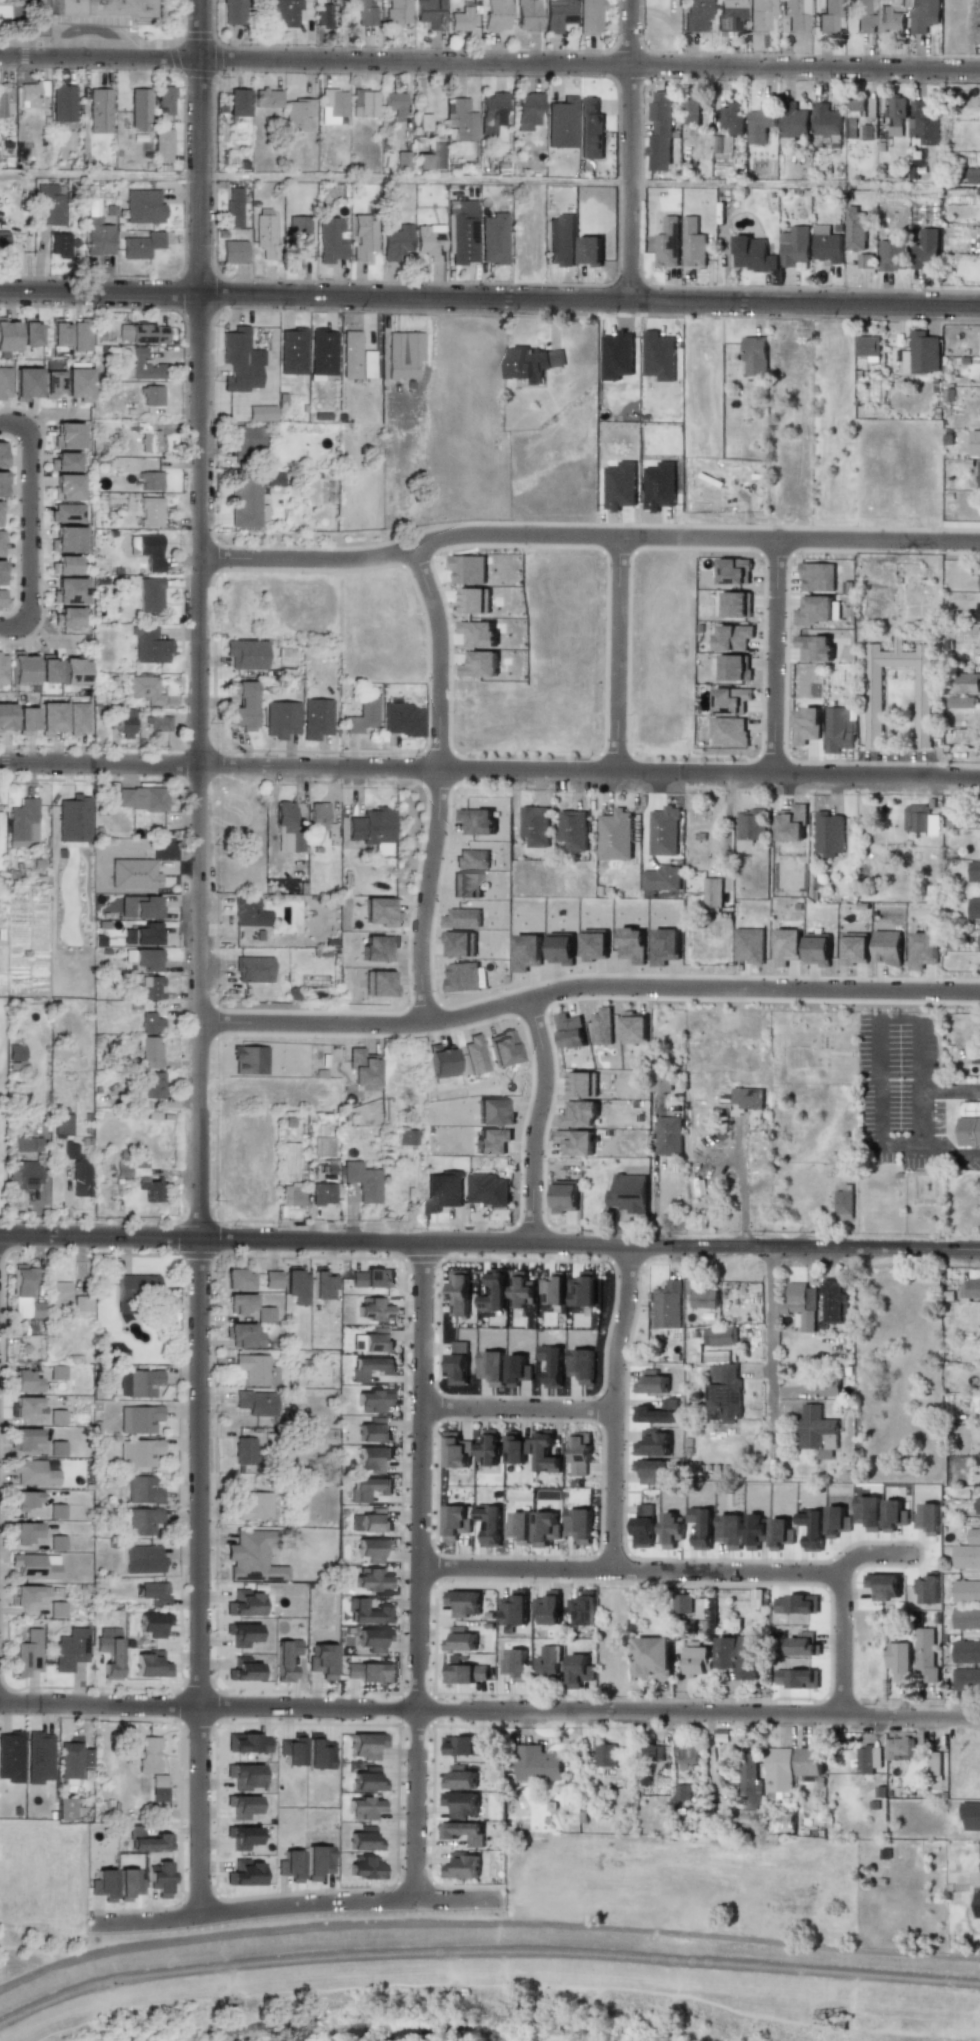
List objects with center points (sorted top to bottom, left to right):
building: (979, 4)
building: (105, 8)
building: (363, 11)
building: (234, 12)
building: (287, 12)
building: (398, 12)
building: (431, 13)
building: (558, 14)
building: (729, 14)
building: (759, 14)
building: (795, 14)
building: (323, 15)
building: (496, 15)
building: (528, 15)
building: (696, 15)
building: (924, 15)
building: (862, 16)
building: (589, 17)
building: (828, 17)
building: (890, 19)
building: (460, 20)
building: (977, 30)
road: (490, 62)
building: (31, 93)
building: (266, 98)
building: (164, 99)
building: (4, 101)
building: (237, 102)
building: (63, 103)
building: (364, 103)
building: (332, 105)
building: (394, 105)
building: (856, 106)
building: (139, 109)
building: (690, 109)
building: (528, 111)
building: (100, 112)
building: (297, 113)
building: (492, 113)
building: (896, 115)
building: (732, 119)
building: (460, 120)
building: (826, 120)
building: (793, 121)
building: (760, 122)
building: (561, 123)
building: (923, 124)
building: (590, 128)
building: (660, 131)
building: (162, 145)
road: (631, 150)
building: (722, 150)
building: (439, 155)
building: (917, 156)
building: (402, 160)
building: (422, 161)
road: (100, 175)
building: (973, 176)
road: (590, 181)
building: (978, 193)
building: (49, 204)
building: (143, 206)
building: (233, 207)
building: (856, 229)
building: (461, 231)
building: (265, 235)
building: (363, 236)
building: (98, 237)
building: (300, 237)
building: (493, 239)
building: (329, 240)
building: (561, 240)
building: (3, 242)
building: (396, 242)
building: (429, 243)
building: (667, 243)
building: (693, 243)
building: (826, 244)
building: (59, 245)
building: (141, 245)
building: (794, 246)
building: (925, 249)
building: (233, 251)
building: (590, 251)
building: (752, 254)
building: (892, 255)
building: (865, 261)
road: (490, 298)
building: (29, 332)
building: (142, 334)
building: (7, 335)
building: (80, 336)
building: (57, 338)
building: (868, 347)
building: (292, 351)
building: (322, 352)
building: (922, 353)
building: (350, 354)
building: (403, 354)
building: (617, 355)
building: (659, 356)
building: (755, 356)
building: (241, 360)
building: (533, 363)
building: (143, 366)
building: (3, 383)
building: (25, 383)
building: (51, 383)
building: (77, 384)
building: (151, 396)
building: (67, 435)
building: (148, 437)
building: (248, 437)
building: (1, 454)
building: (64, 461)
building: (979, 475)
building: (273, 479)
building: (3, 481)
building: (150, 481)
building: (620, 485)
building: (659, 486)
building: (66, 487)
building: (245, 501)
building: (151, 512)
building: (67, 513)
road: (30, 527)
road: (588, 534)
building: (1, 536)
building: (67, 539)
building: (147, 550)
building: (64, 564)
building: (468, 569)
building: (734, 571)
building: (1, 573)
building: (817, 577)
building: (979, 583)
building: (69, 590)
building: (150, 594)
building: (1, 598)
building: (474, 600)
building: (737, 604)
building: (815, 610)
building: (978, 611)
building: (67, 616)
building: (478, 633)
building: (733, 637)
building: (149, 645)
building: (814, 648)
road: (617, 652)
building: (245, 654)
road: (774, 654)
road: (439, 658)
building: (480, 664)
building: (734, 667)
building: (2, 668)
building: (21, 668)
building: (48, 669)
building: (73, 670)
building: (965, 682)
building: (145, 689)
building: (731, 700)
building: (960, 702)
building: (922, 706)
building: (242, 707)
building: (6, 717)
building: (51, 718)
building: (77, 718)
building: (315, 718)
building: (280, 719)
building: (402, 719)
building: (25, 720)
building: (125, 723)
building: (158, 723)
building: (806, 725)
building: (839, 728)
building: (729, 732)
road: (490, 769)
building: (140, 798)
building: (318, 815)
building: (73, 819)
building: (920, 819)
building: (23, 821)
building: (792, 823)
building: (371, 826)
building: (535, 826)
building: (750, 828)
building: (287, 829)
building: (573, 830)
building: (664, 831)
building: (828, 834)
building: (615, 835)
building: (974, 871)
building: (661, 878)
building: (712, 892)
road: (428, 895)
building: (139, 907)
building: (974, 908)
building: (248, 913)
building: (142, 935)
building: (979, 941)
building: (749, 945)
building: (787, 946)
building: (887, 947)
building: (856, 948)
building: (817, 949)
building: (923, 950)
building: (146, 959)
road: (199, 959)
building: (253, 969)
road: (587, 986)
building: (152, 987)
building: (151, 1023)
building: (602, 1027)
building: (634, 1028)
building: (570, 1031)
building: (149, 1051)
building: (14, 1052)
building: (975, 1057)
road: (879, 1064)
building: (661, 1081)
road: (916, 1083)
building: (583, 1084)
building: (151, 1085)
road: (897, 1087)
road: (948, 1088)
building: (748, 1098)
building: (579, 1114)
road: (536, 1117)
building: (971, 1124)
building: (61, 1125)
building: (669, 1136)
building: (406, 1137)
building: (291, 1140)
building: (576, 1142)
building: (27, 1144)
road: (930, 1145)
building: (324, 1146)
building: (69, 1151)
building: (289, 1166)
building: (23, 1176)
building: (80, 1178)
building: (140, 1179)
building: (362, 1181)
road: (741, 1185)
building: (443, 1190)
building: (488, 1190)
building: (628, 1193)
building: (323, 1194)
building: (292, 1195)
building: (565, 1197)
building: (843, 1204)
road: (489, 1240)
building: (238, 1279)
building: (371, 1279)
building: (271, 1280)
building: (322, 1284)
building: (295, 1286)
building: (975, 1289)
building: (133, 1290)
building: (521, 1290)
building: (553, 1290)
building: (583, 1291)
building: (492, 1292)
building: (24, 1293)
building: (59, 1293)
building: (459, 1293)
building: (701, 1295)
building: (836, 1301)
building: (241, 1303)
building: (82, 1304)
building: (801, 1305)
building: (667, 1306)
building: (374, 1309)
building: (265, 1315)
building: (245, 1335)
building: (720, 1336)
building: (373, 1341)
road: (773, 1363)
building: (370, 1368)
building: (256, 1369)
building: (56, 1373)
building: (24, 1381)
building: (138, 1384)
building: (825, 1386)
building: (724, 1393)
building: (373, 1401)
building: (255, 1402)
road: (616, 1405)
building: (25, 1407)
road: (519, 1410)
building: (56, 1416)
building: (139, 1419)
building: (373, 1431)
building: (817, 1433)
building: (25, 1438)
building: (488, 1448)
building: (517, 1448)
building: (56, 1449)
building: (138, 1452)
building: (245, 1453)
building: (457, 1453)
building: (581, 1453)
building: (546, 1454)
building: (373, 1458)
building: (32, 1472)
building: (368, 1488)
building: (142, 1490)
building: (25, 1500)
building: (978, 1505)
building: (254, 1506)
building: (140, 1521)
building: (374, 1521)
building: (456, 1522)
building: (491, 1524)
building: (579, 1525)
building: (519, 1527)
building: (545, 1528)
building: (23, 1532)
building: (974, 1536)
building: (56, 1545)
building: (371, 1549)
road: (869, 1555)
building: (966, 1556)
building: (252, 1558)
building: (142, 1559)
building: (35, 1566)
road: (420, 1569)
road: (699, 1571)
building: (371, 1580)
building: (966, 1591)
building: (155, 1593)
building: (26, 1594)
building: (462, 1602)
building: (243, 1603)
building: (683, 1604)
building: (515, 1608)
building: (548, 1608)
building: (583, 1608)
building: (56, 1609)
building: (367, 1612)
building: (966, 1618)
building: (153, 1624)
building: (241, 1634)
building: (372, 1639)
building: (460, 1640)
building: (70, 1649)
building: (966, 1652)
building: (27, 1653)
building: (109, 1655)
building: (738, 1655)
building: (925, 1655)
building: (653, 1657)
building: (285, 1659)
building: (697, 1659)
building: (899, 1660)
building: (322, 1661)
building: (547, 1661)
building: (150, 1664)
building: (515, 1664)
building: (243, 1670)
building: (579, 1671)
building: (366, 1672)
building: (466, 1673)
building: (966, 1678)
road: (490, 1710)
building: (247, 1743)
building: (365, 1745)
building: (464, 1746)
building: (900, 1749)
building: (290, 1751)
building: (318, 1752)
building: (652, 1752)
building: (688, 1753)
building: (148, 1754)
building: (605, 1755)
building: (10, 1756)
building: (38, 1757)
building: (73, 1760)
building: (865, 1760)
building: (809, 1761)
building: (934, 1763)
building: (537, 1764)
building: (243, 1776)
building: (459, 1778)
building: (367, 1780)
building: (749, 1782)
building: (158, 1788)
building: (682, 1792)
building: (460, 1804)
building: (241, 1806)
building: (364, 1808)
building: (65, 1809)
building: (970, 1815)
building: (463, 1832)
building: (241, 1837)
building: (363, 1839)
building: (147, 1841)
building: (317, 1862)
building: (289, 1865)
building: (461, 1866)
building: (365, 1867)
building: (244, 1873)
building: (158, 1879)
building: (102, 1884)
building: (128, 1884)
road: (297, 1904)
building: (977, 1905)
road: (486, 1922)
road: (485, 1951)

